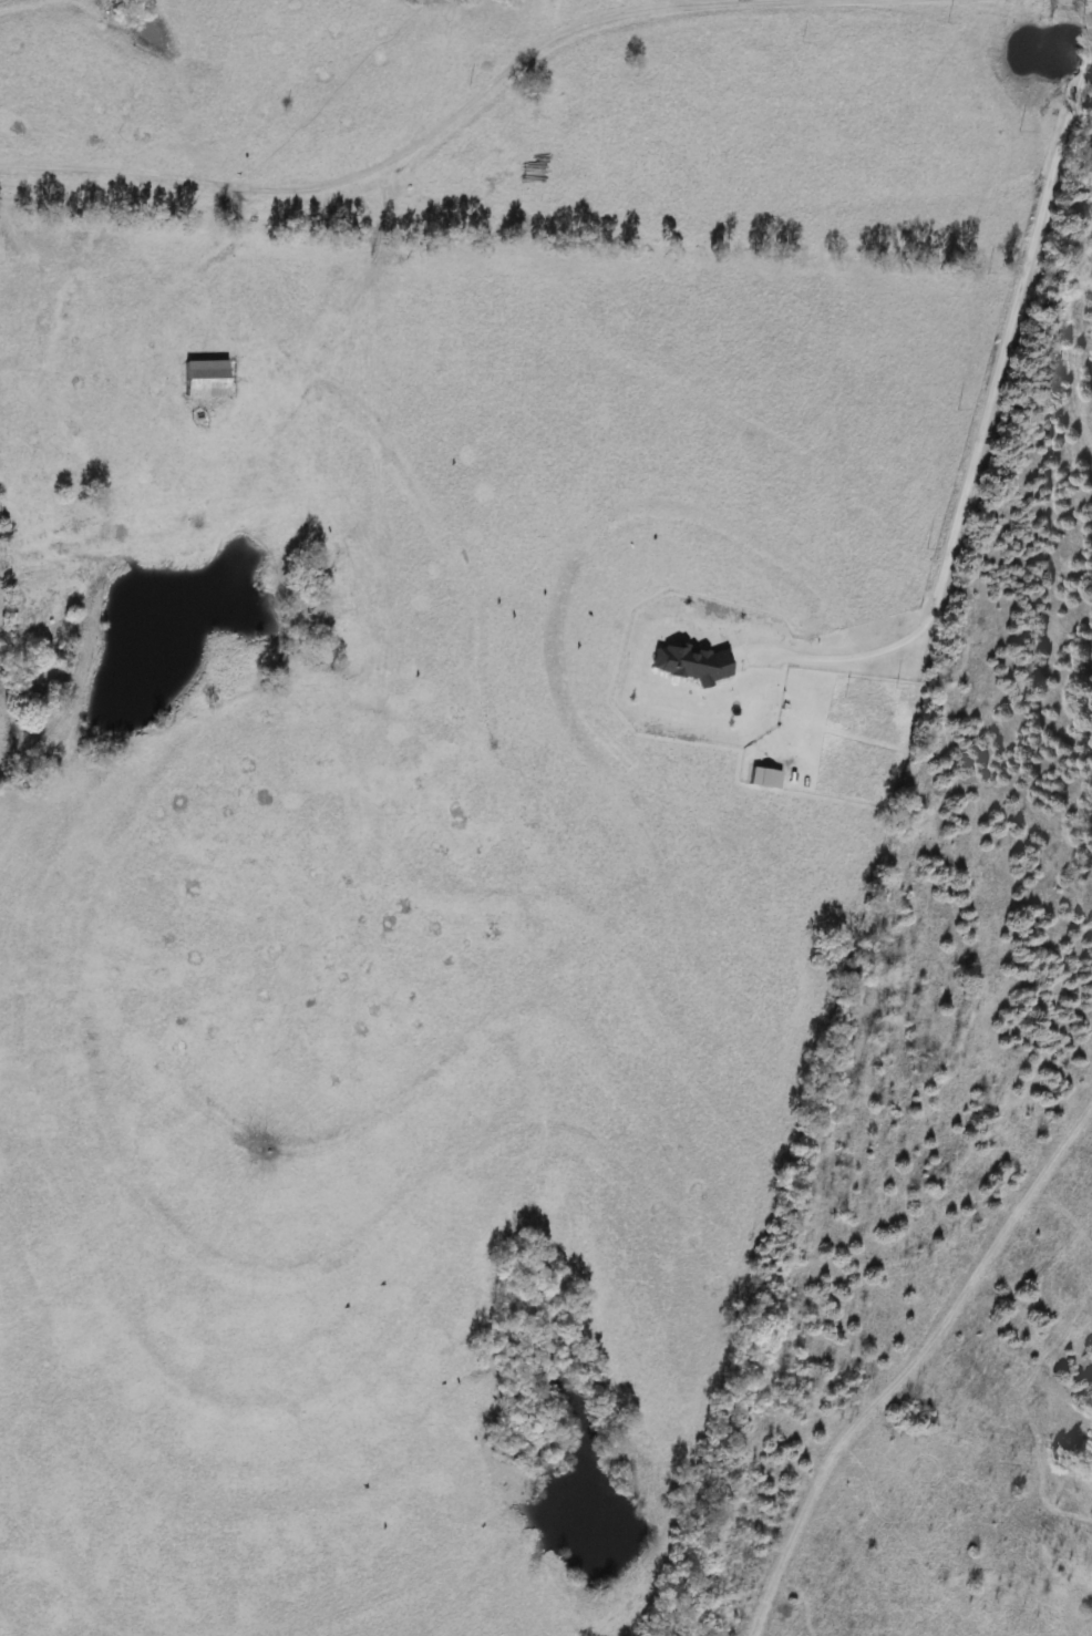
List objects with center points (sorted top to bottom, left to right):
road: (394, 155)
building: (205, 377)
road: (991, 390)

